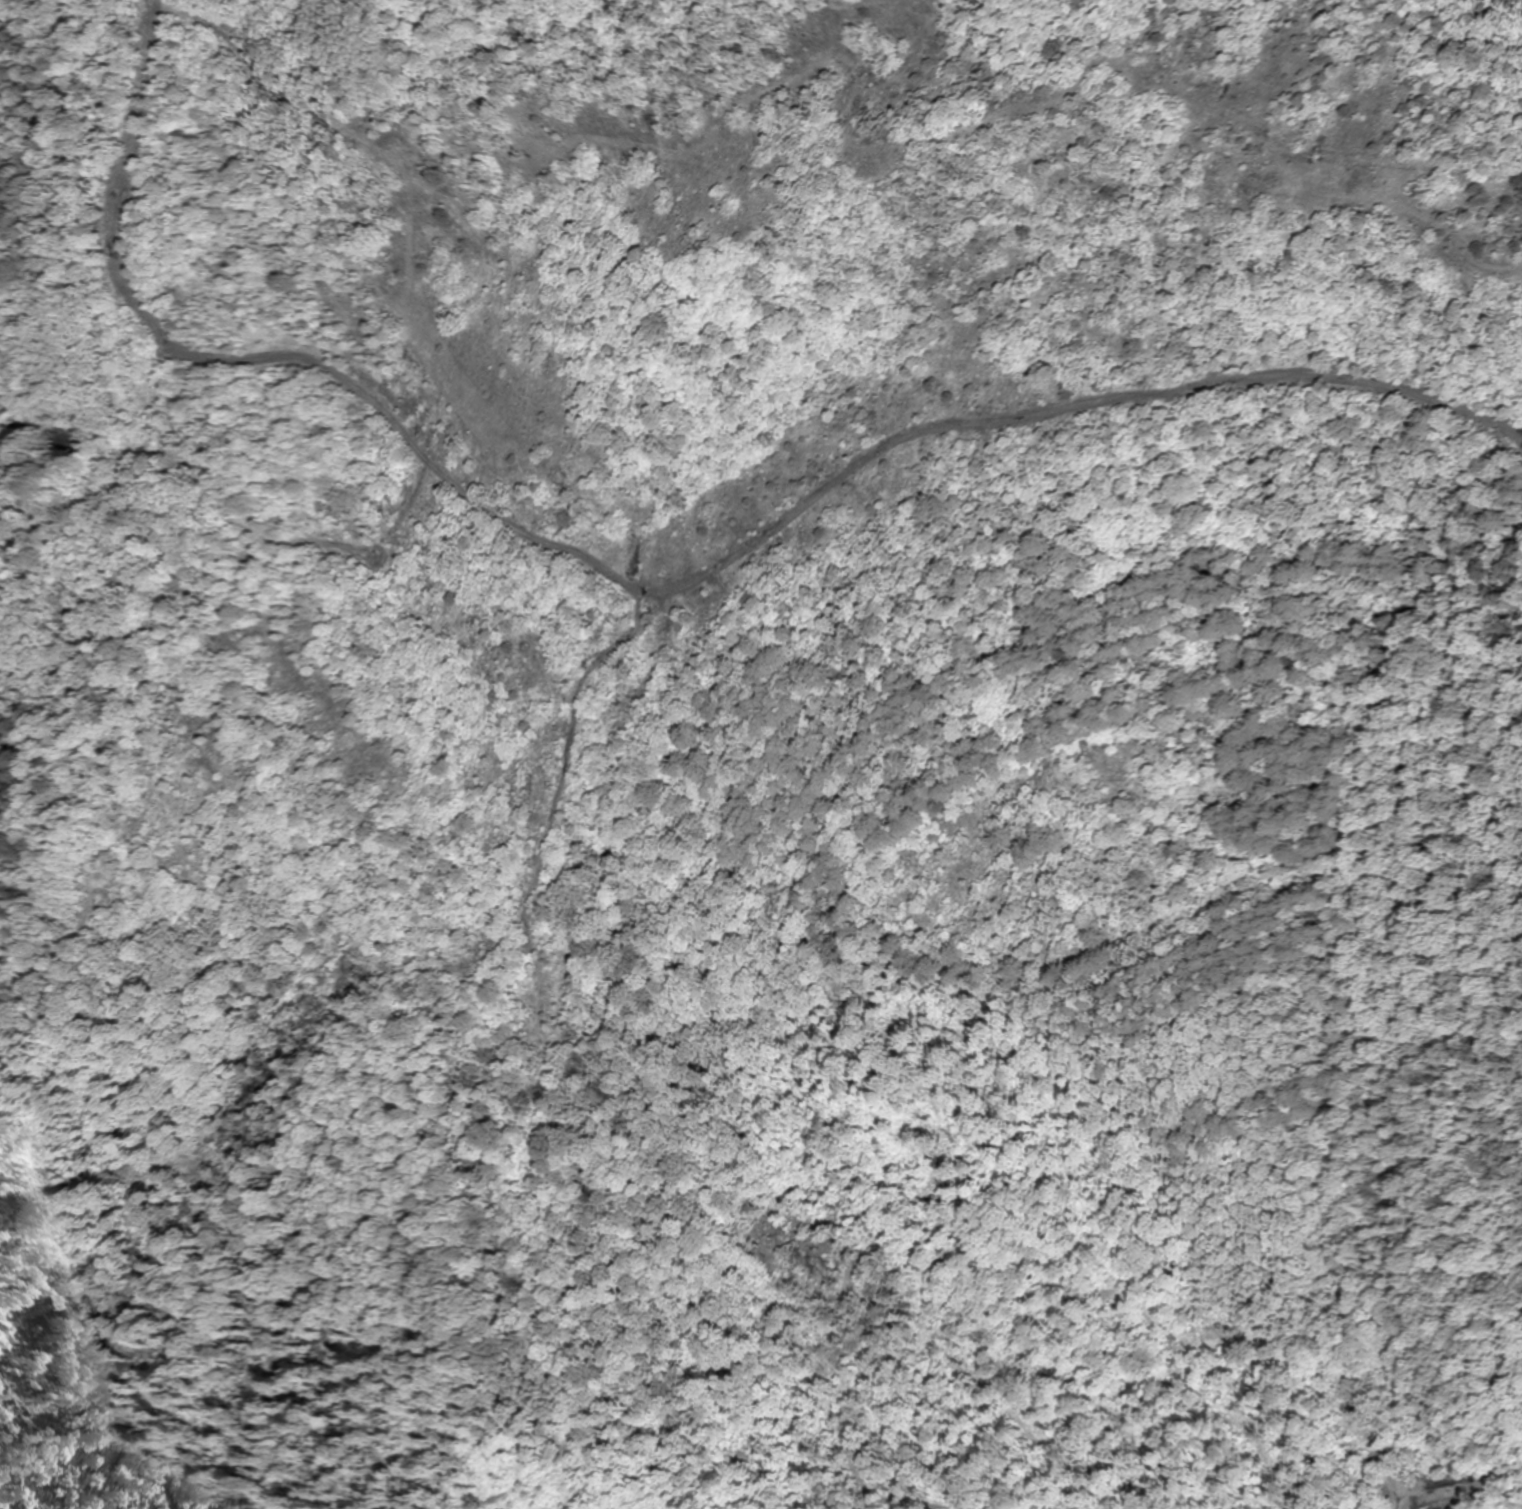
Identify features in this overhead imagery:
road: (1406, 1507)

